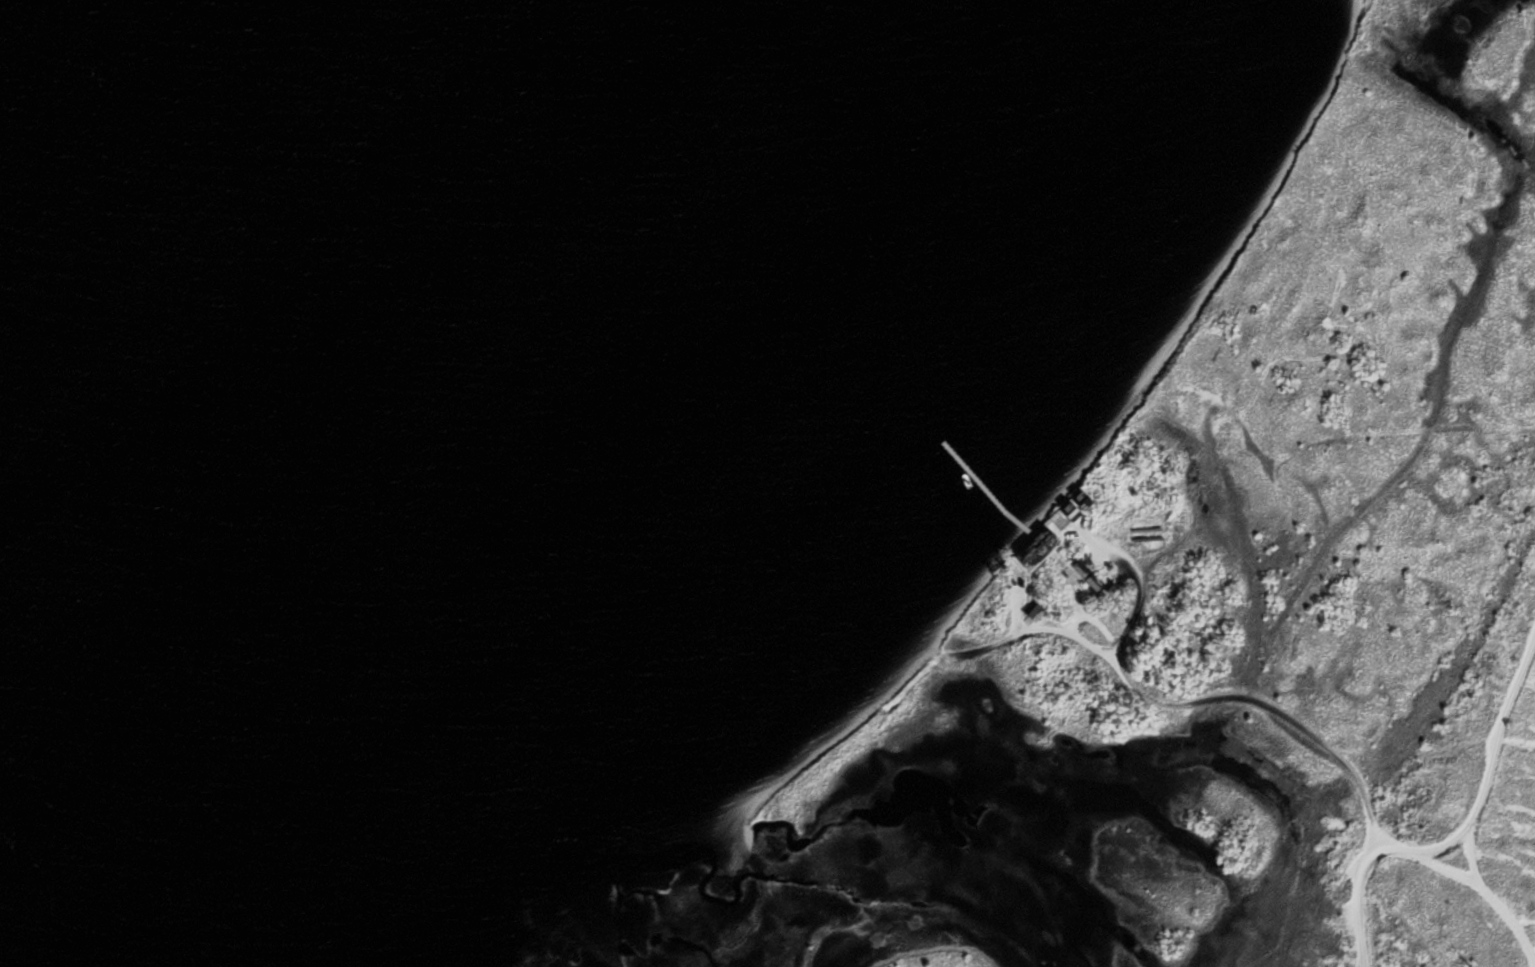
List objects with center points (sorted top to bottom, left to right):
road: (1257, 379)
road: (1148, 428)
road: (1196, 456)
pier: (985, 490)
building: (1084, 499)
building: (1072, 510)
building: (1060, 522)
building: (1145, 529)
road: (1175, 536)
road: (1065, 537)
building: (1147, 538)
road: (1029, 539)
building: (1037, 548)
road: (1060, 556)
road: (1053, 563)
building: (1080, 568)
building: (1095, 581)
road: (1137, 582)
building: (1113, 589)
road: (1078, 592)
road: (1076, 600)
road: (1017, 606)
road: (1021, 608)
building: (1036, 611)
road: (1090, 616)
road: (1025, 628)
road: (1271, 705)
road: (1456, 836)
road: (1467, 849)
road: (1489, 895)

